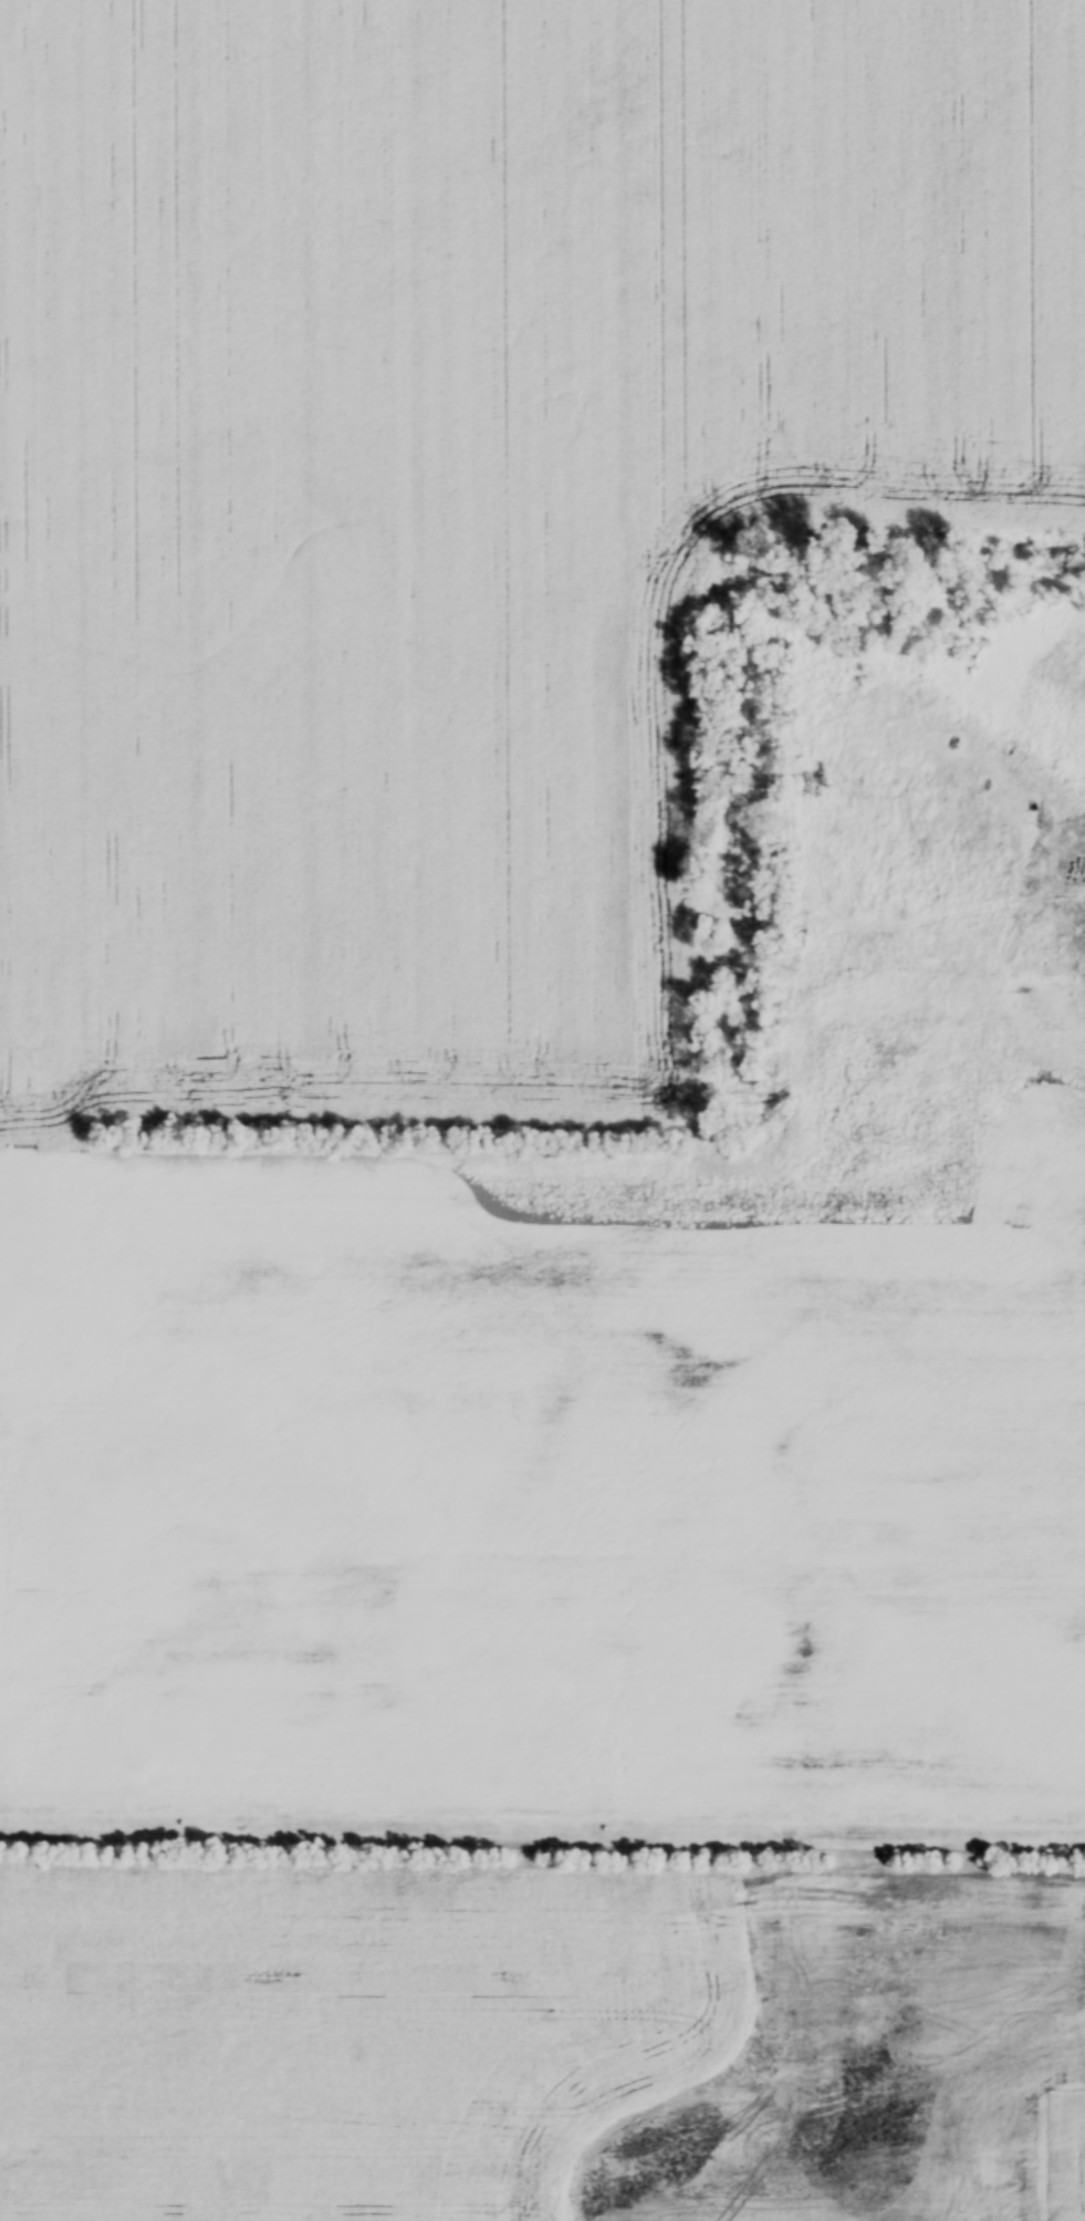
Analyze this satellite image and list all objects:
road: (1049, 783)

